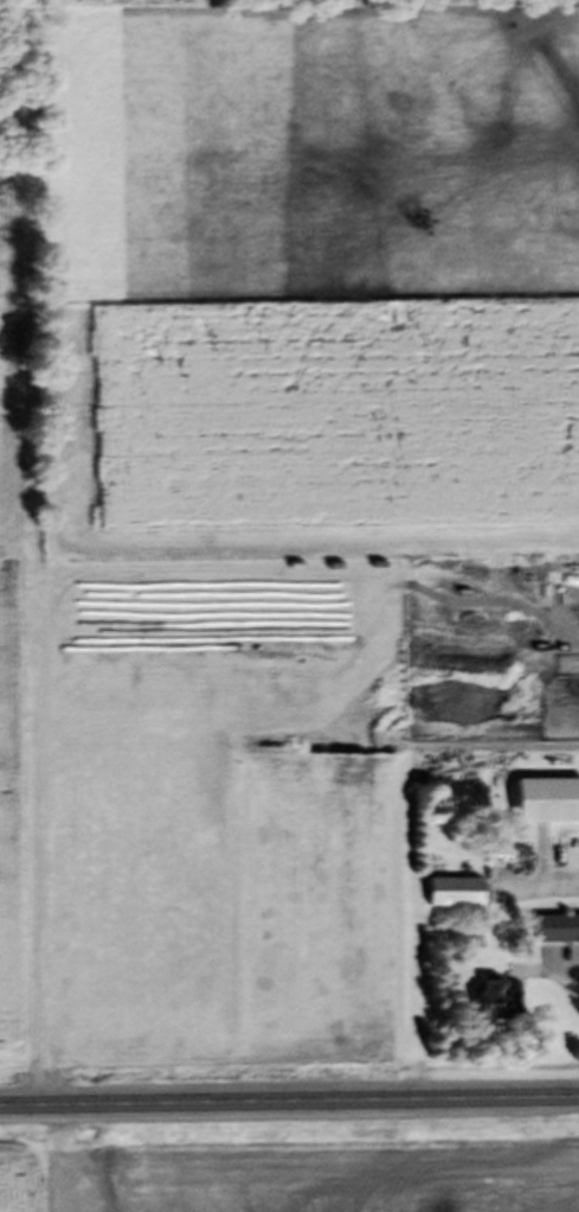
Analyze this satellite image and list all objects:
building: (546, 806)
building: (452, 899)
building: (555, 934)
building: (491, 1006)
road: (289, 1102)

